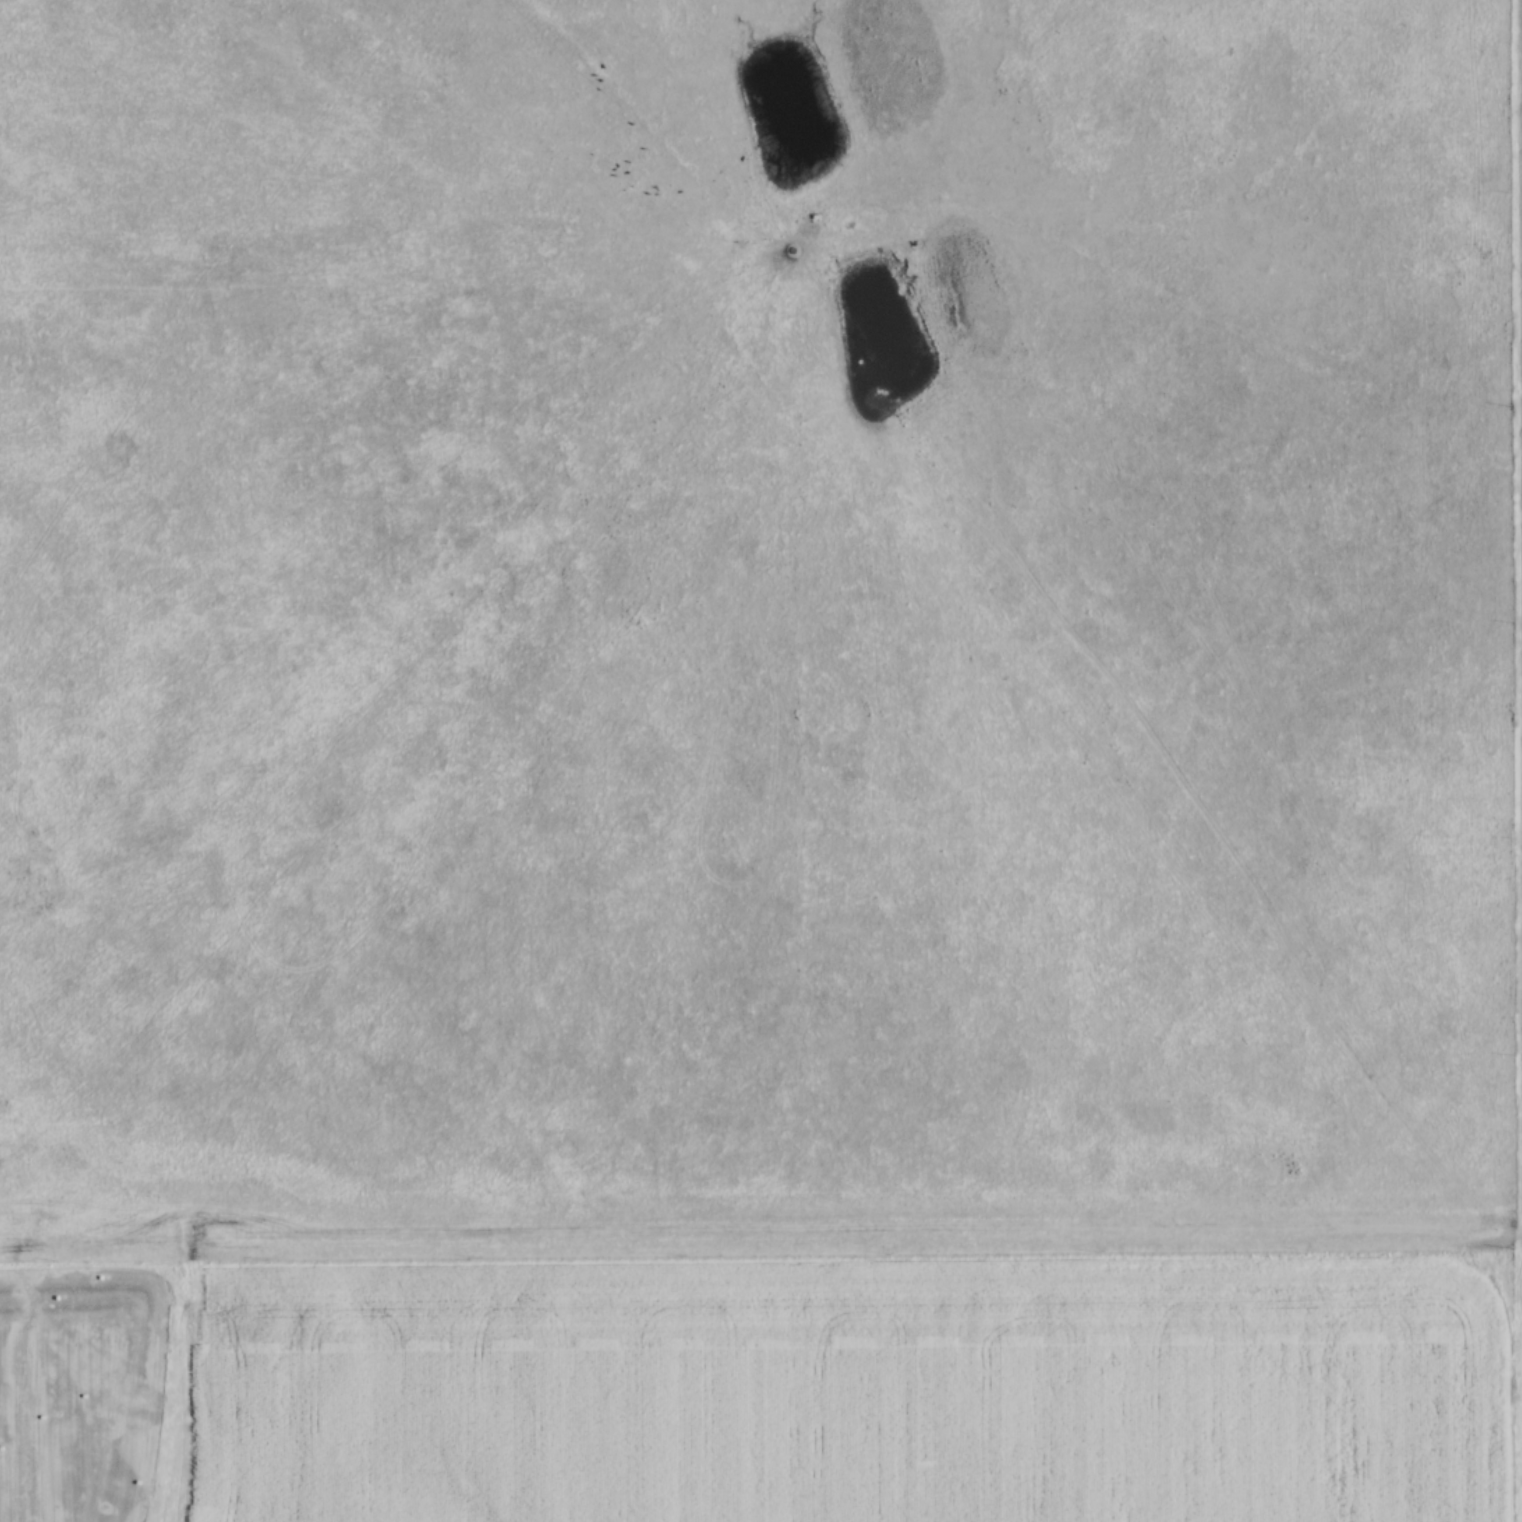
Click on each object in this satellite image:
building: (1113, 1375)

